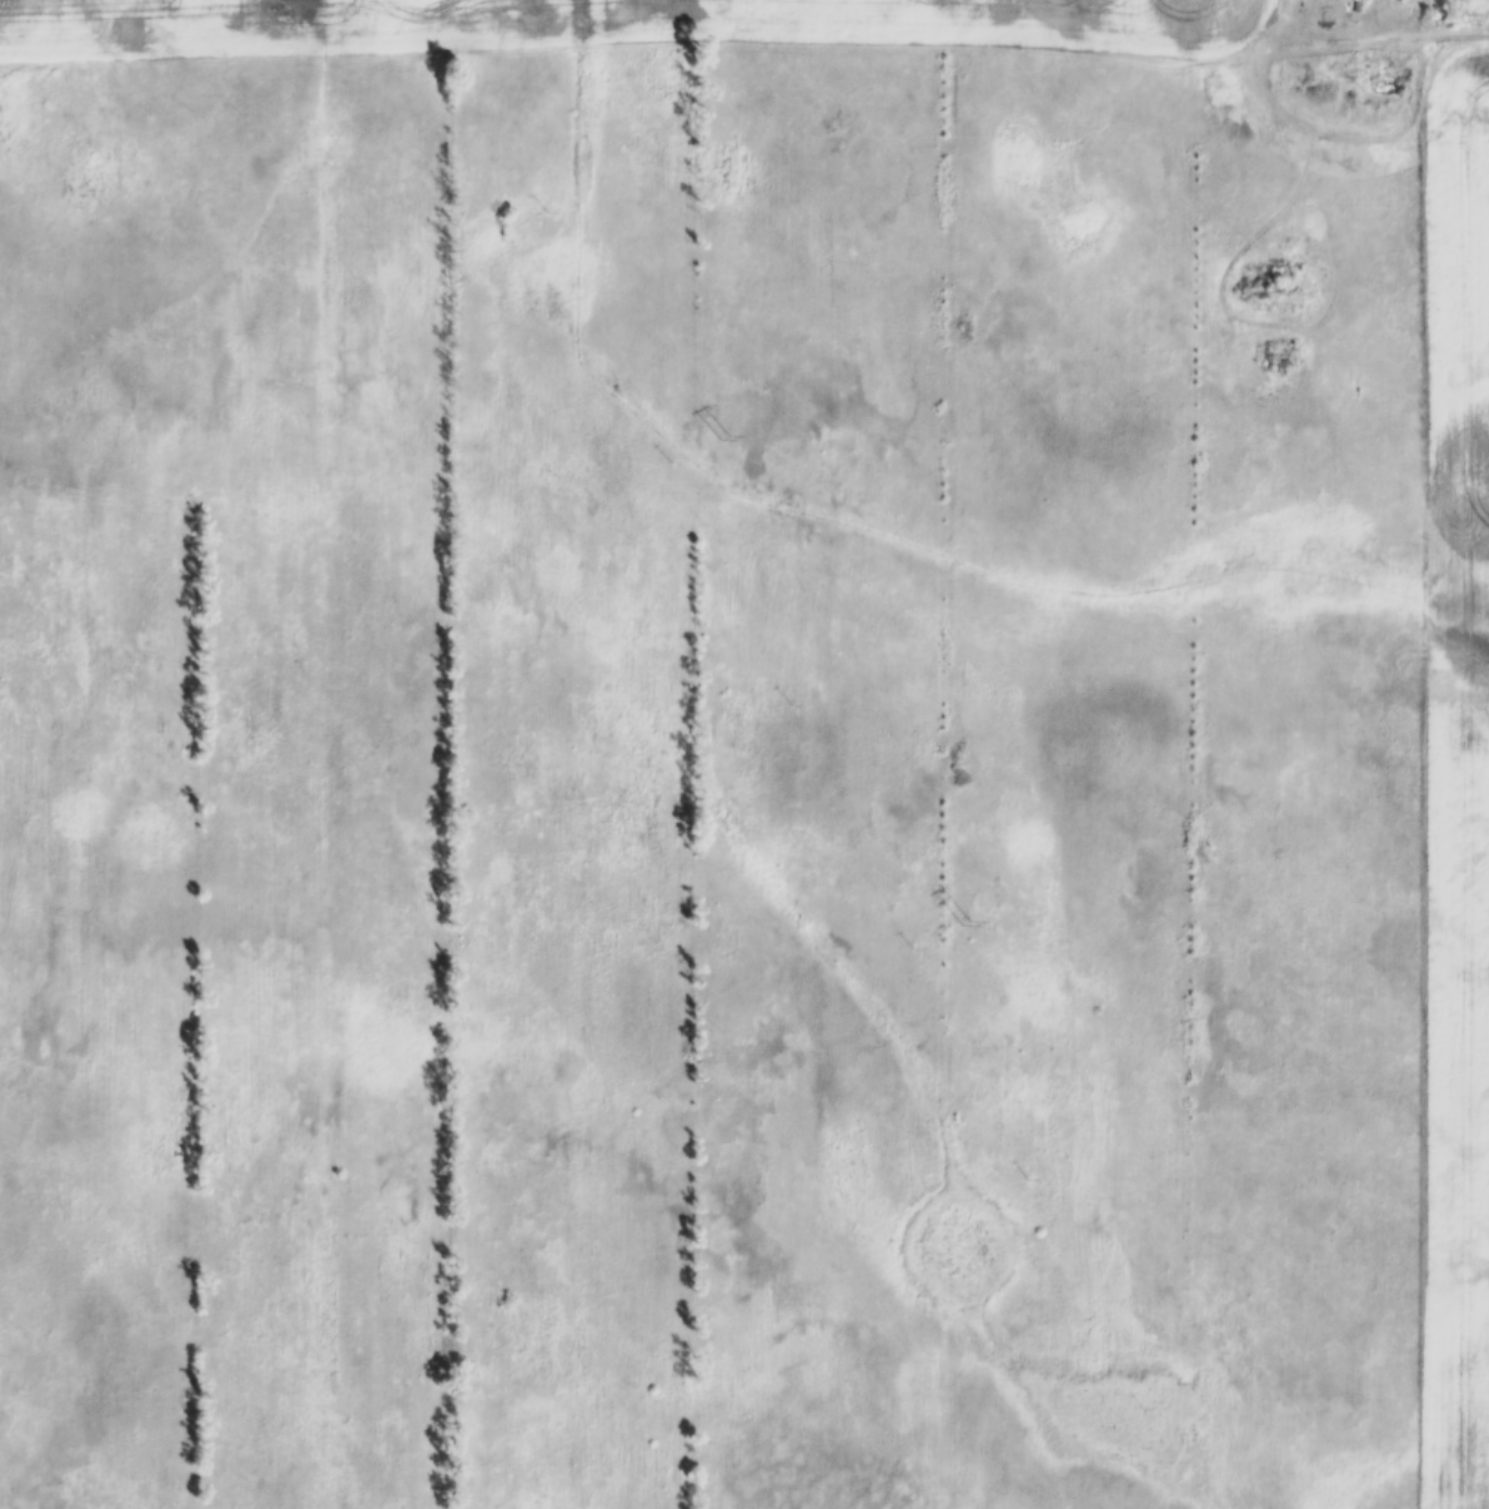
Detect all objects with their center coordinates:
road: (982, 34)
power tower: (722, 438)
power tower: (962, 923)

